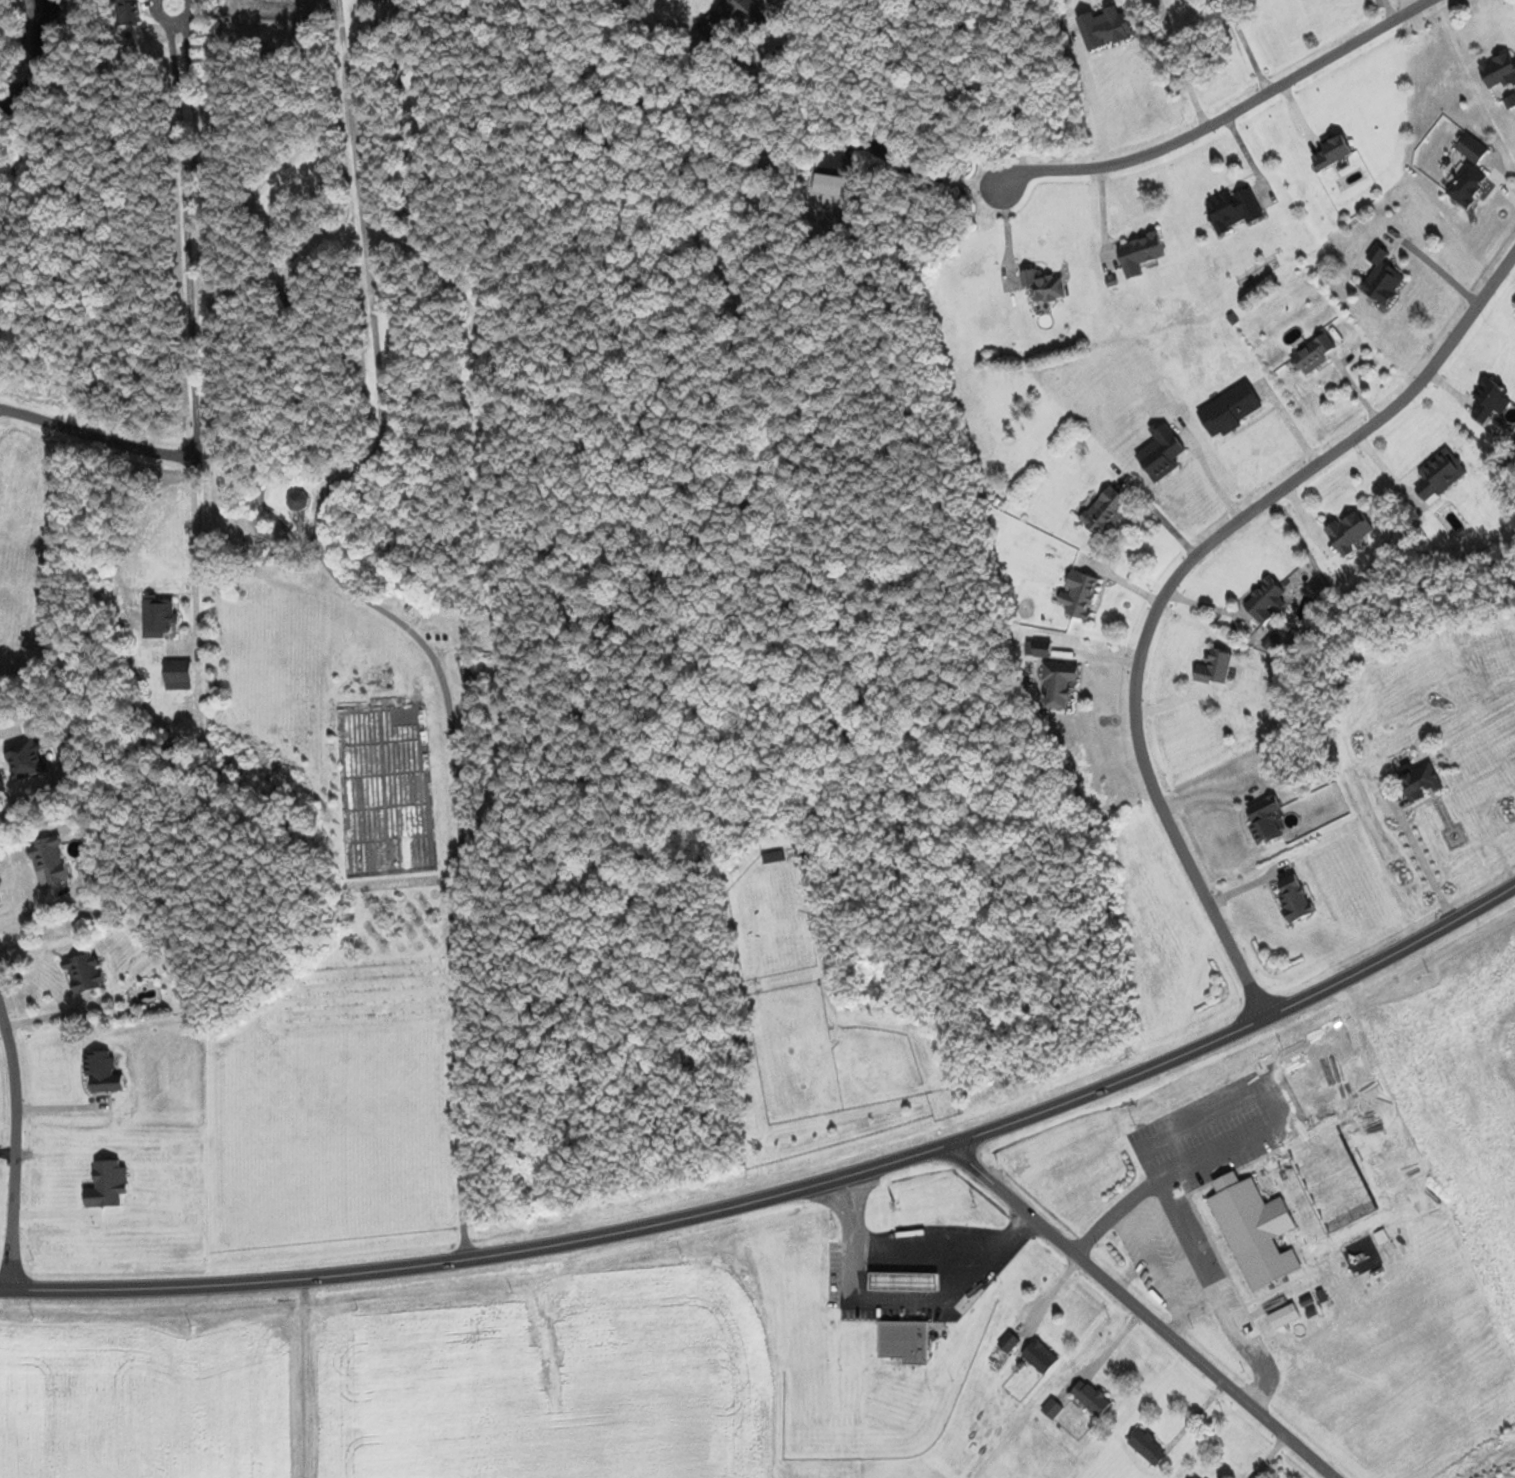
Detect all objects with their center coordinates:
building: (742, 9)
building: (129, 11)
building: (715, 27)
building: (1499, 70)
road: (1226, 115)
building: (1473, 148)
building: (1334, 151)
building: (1468, 185)
building: (1235, 209)
building: (1140, 253)
building: (1383, 278)
building: (1043, 285)
building: (1314, 355)
building: (1490, 400)
building: (1230, 410)
road: (97, 438)
building: (1162, 452)
building: (1441, 475)
building: (296, 502)
building: (1106, 513)
building: (1351, 532)
road: (200, 561)
road: (1173, 577)
building: (1081, 594)
building: (1267, 601)
building: (159, 617)
road: (369, 626)
building: (1044, 649)
building: (1216, 668)
building: (179, 675)
building: (1059, 684)
building: (26, 758)
building: (1421, 783)
building: (1265, 820)
building: (774, 857)
building: (49, 860)
building: (1296, 899)
building: (85, 974)
building: (103, 1072)
road: (14, 1152)
road: (784, 1188)
road: (925, 1251)
building: (905, 1282)
road: (898, 1297)
road: (1137, 1310)
building: (1284, 1317)
building: (905, 1341)
building: (1009, 1342)
building: (1040, 1357)
building: (1092, 1398)
building: (1052, 1409)
building: (1149, 1448)
building: (1195, 1477)

